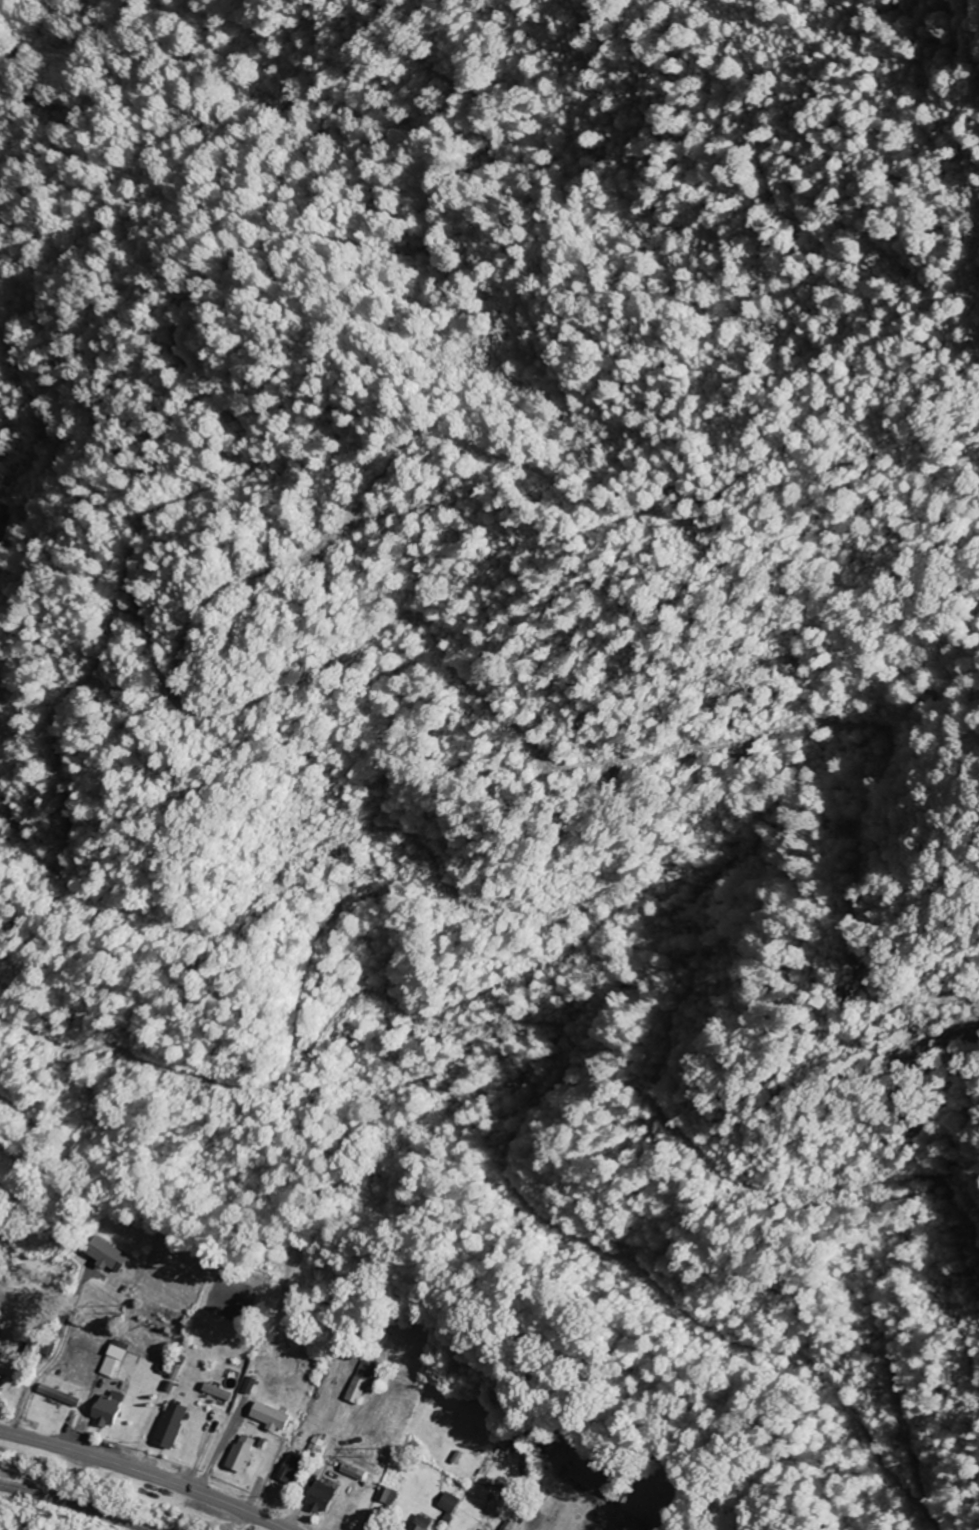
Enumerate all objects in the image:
building: (106, 1256)
building: (114, 1359)
building: (4, 1382)
building: (358, 1382)
building: (218, 1392)
building: (113, 1408)
building: (274, 1416)
building: (174, 1424)
building: (243, 1453)
building: (293, 1468)
road: (146, 1473)
building: (388, 1494)
building: (325, 1497)
building: (450, 1502)
railway: (80, 1505)
building: (628, 1526)

